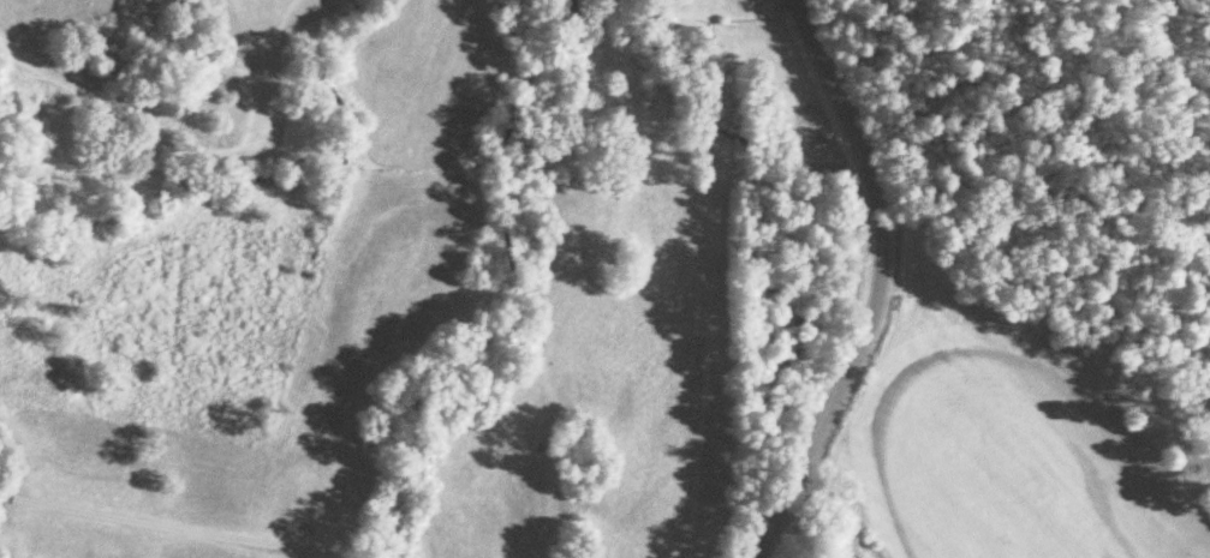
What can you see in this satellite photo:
road: (875, 283)
road: (169, 526)

